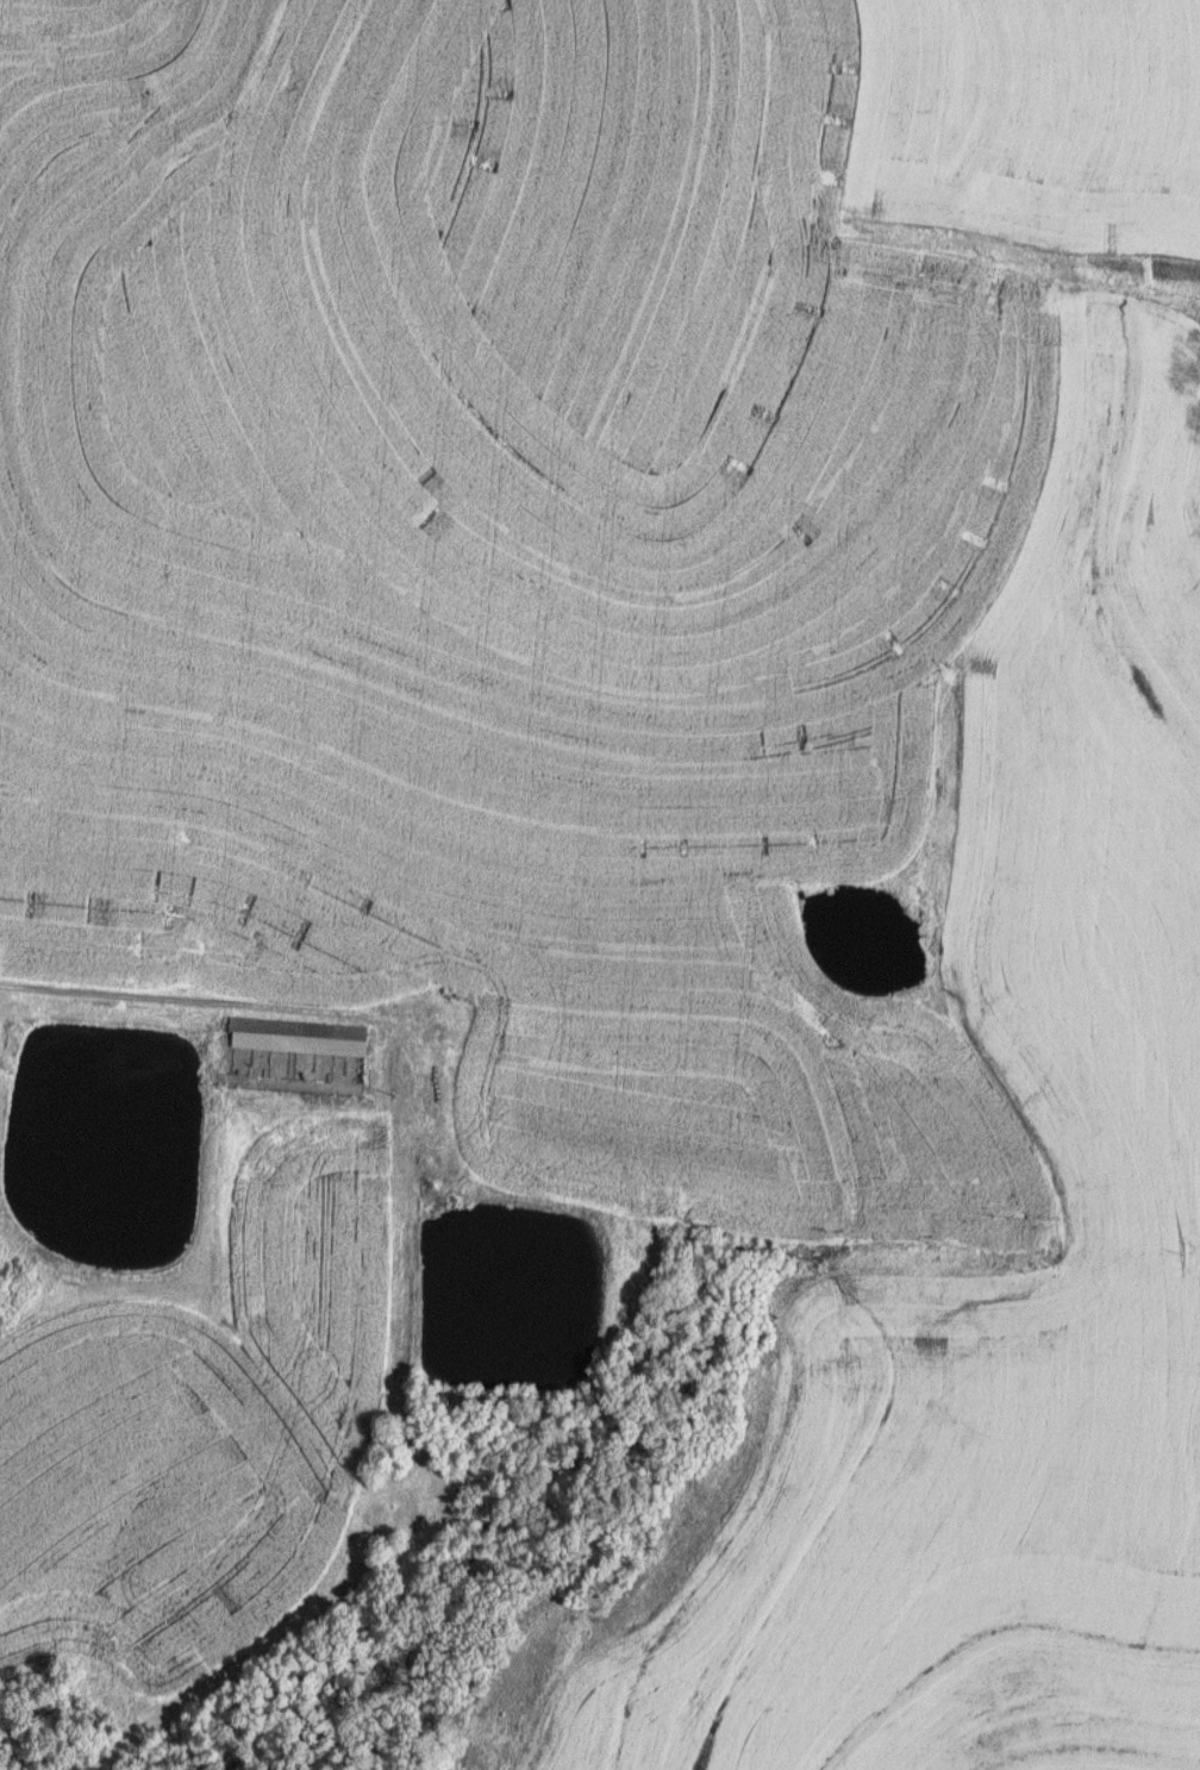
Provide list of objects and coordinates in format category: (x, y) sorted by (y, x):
road: (182, 999)
building: (301, 1053)
building: (427, 1089)

